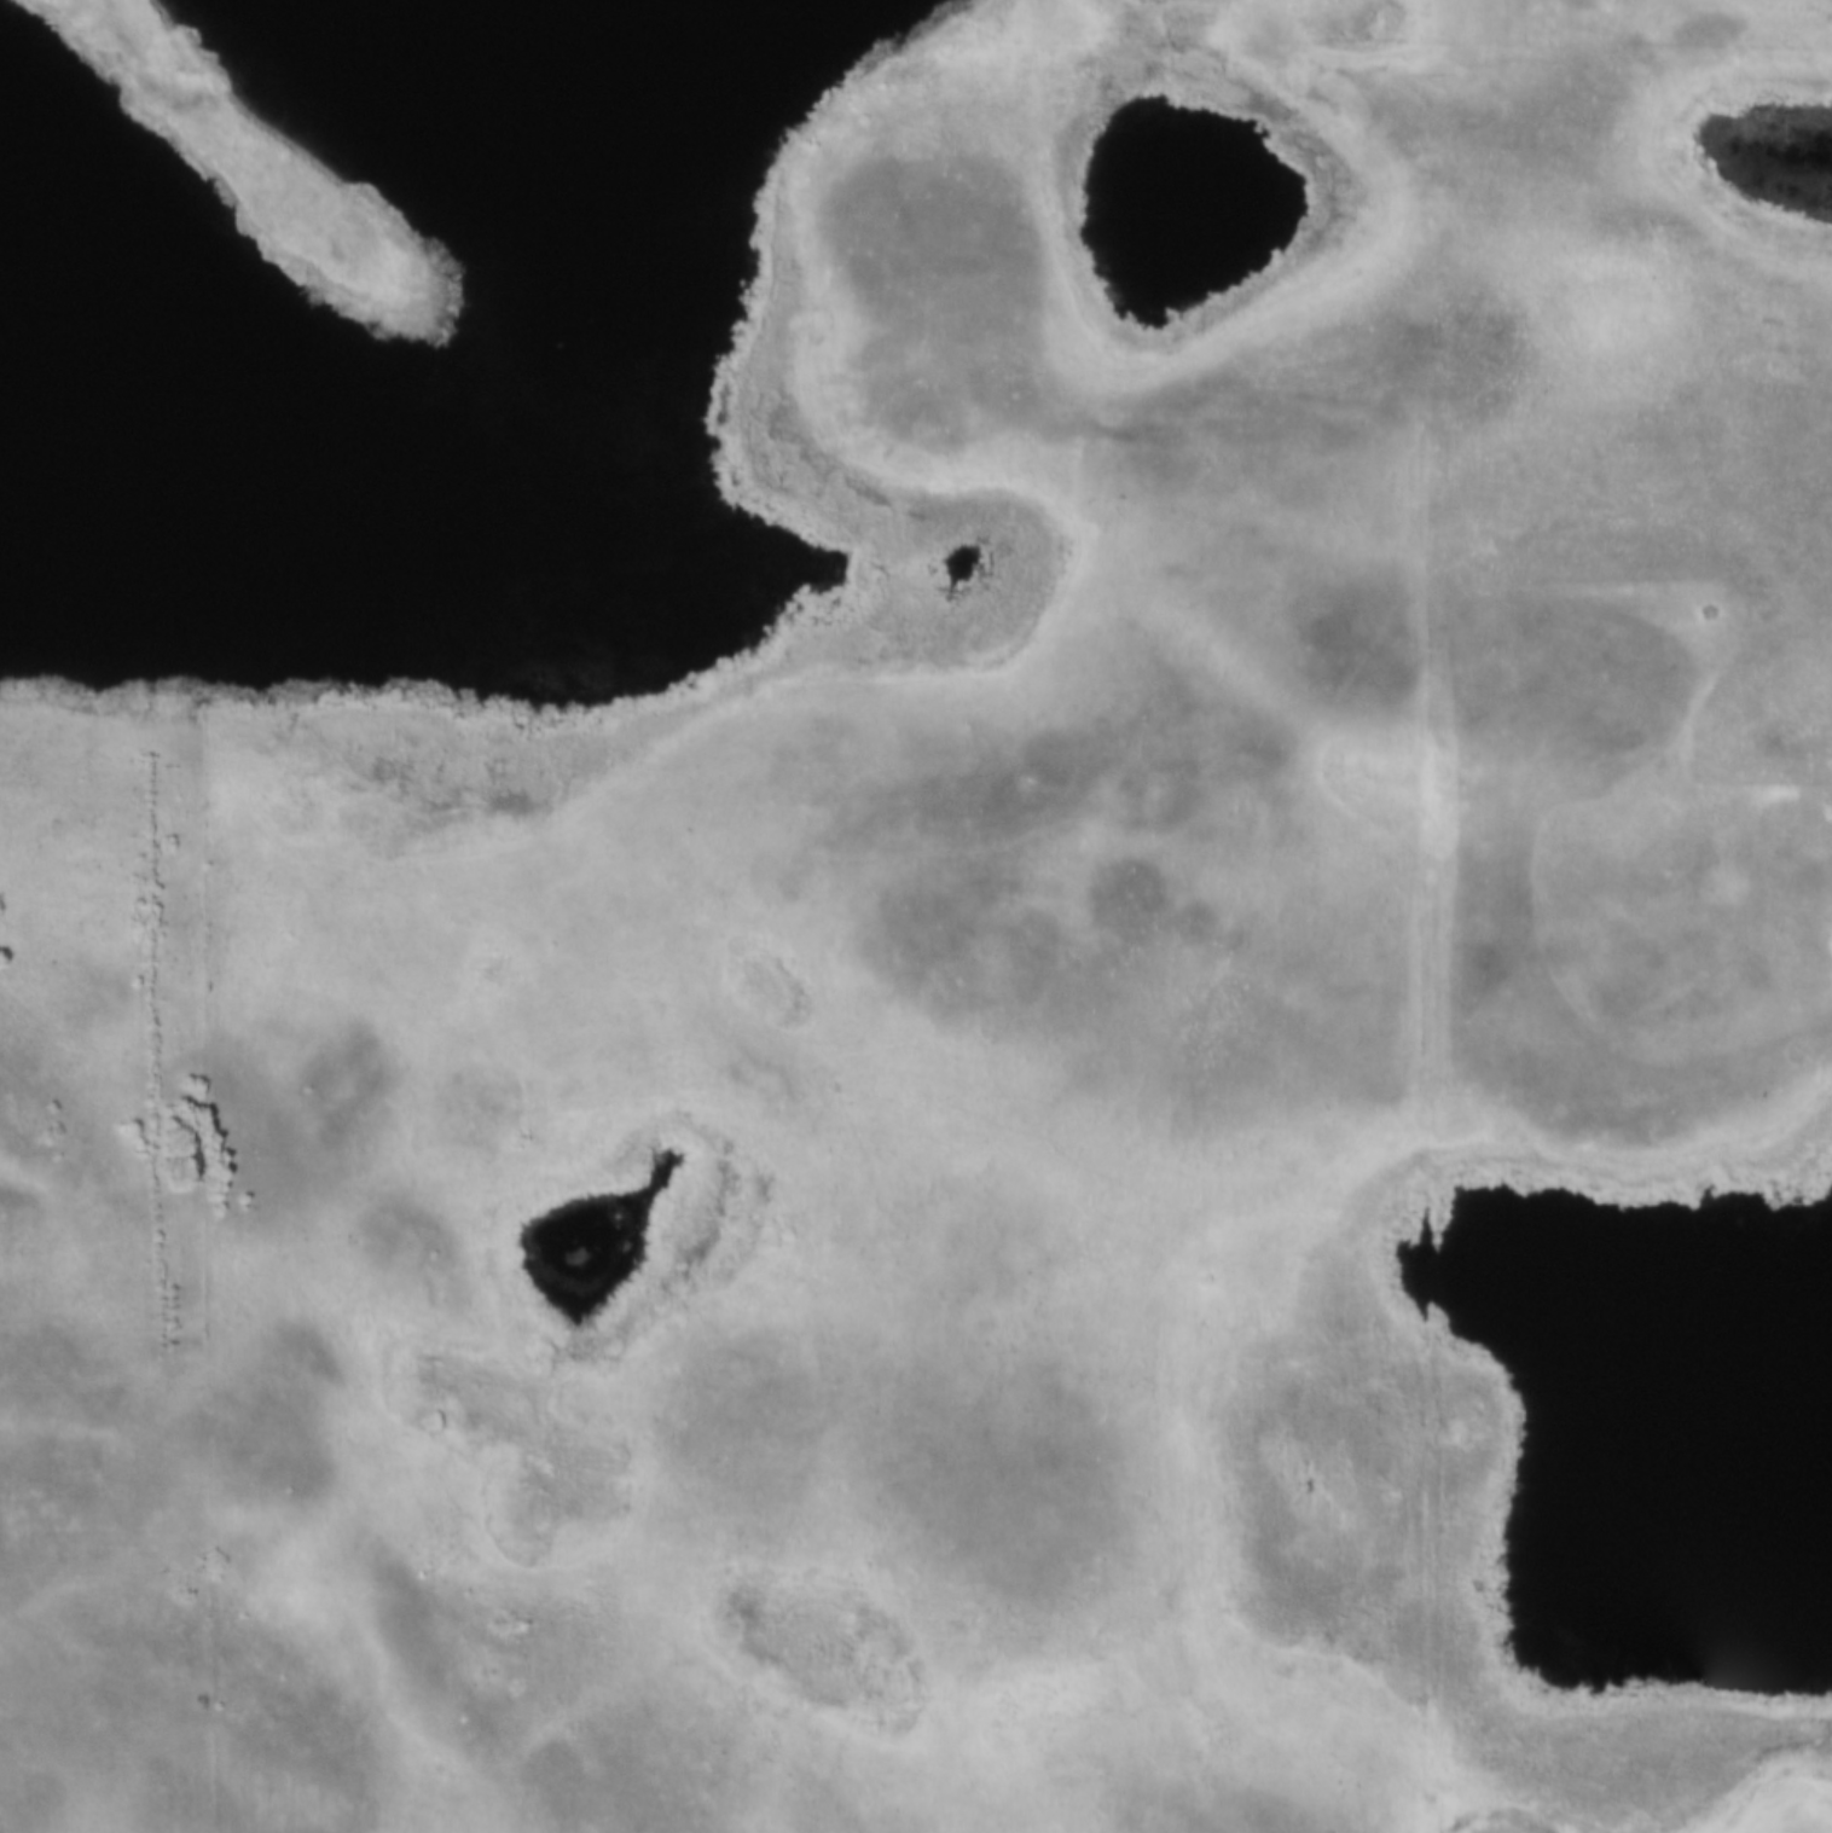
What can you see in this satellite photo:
road: (1633, 65)
road: (1426, 949)

